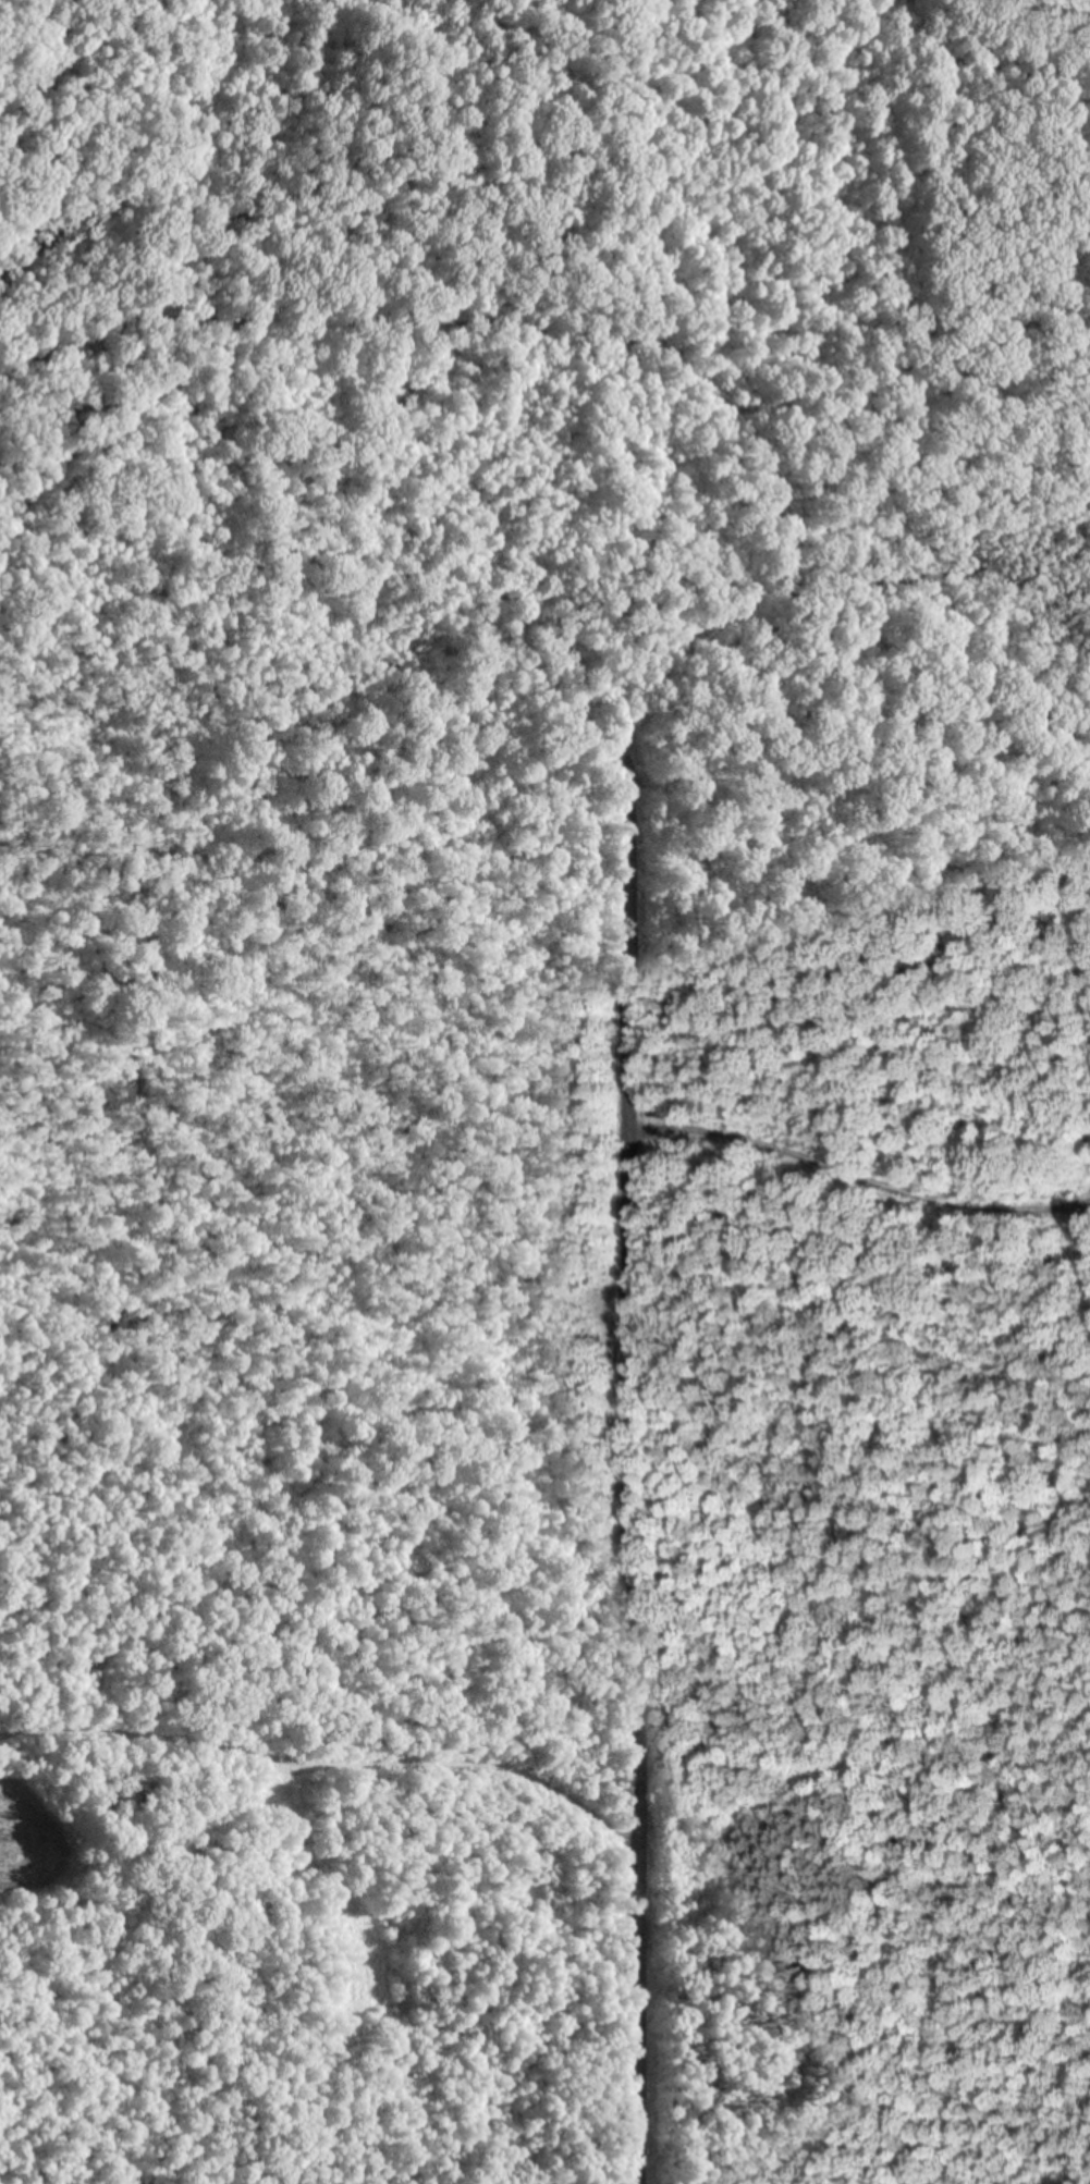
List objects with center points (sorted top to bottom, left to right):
road: (640, 1401)

